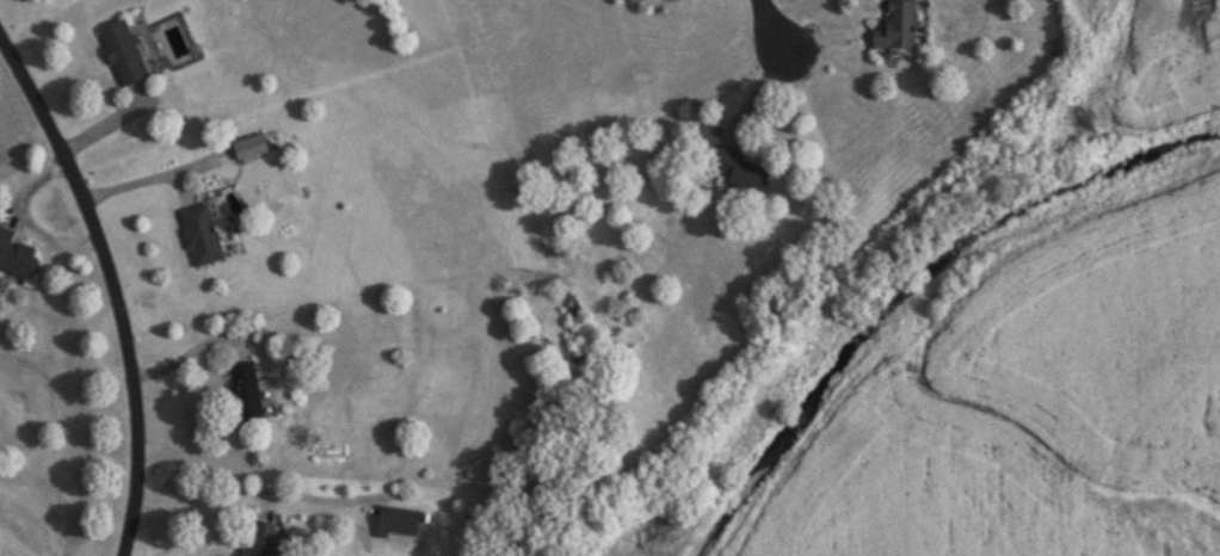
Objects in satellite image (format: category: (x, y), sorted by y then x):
road: (772, 26)
building: (896, 29)
building: (123, 54)
building: (249, 148)
building: (739, 172)
building: (201, 236)
building: (17, 255)
river: (913, 284)
road: (111, 286)
building: (246, 394)
road: (202, 500)
building: (261, 539)

